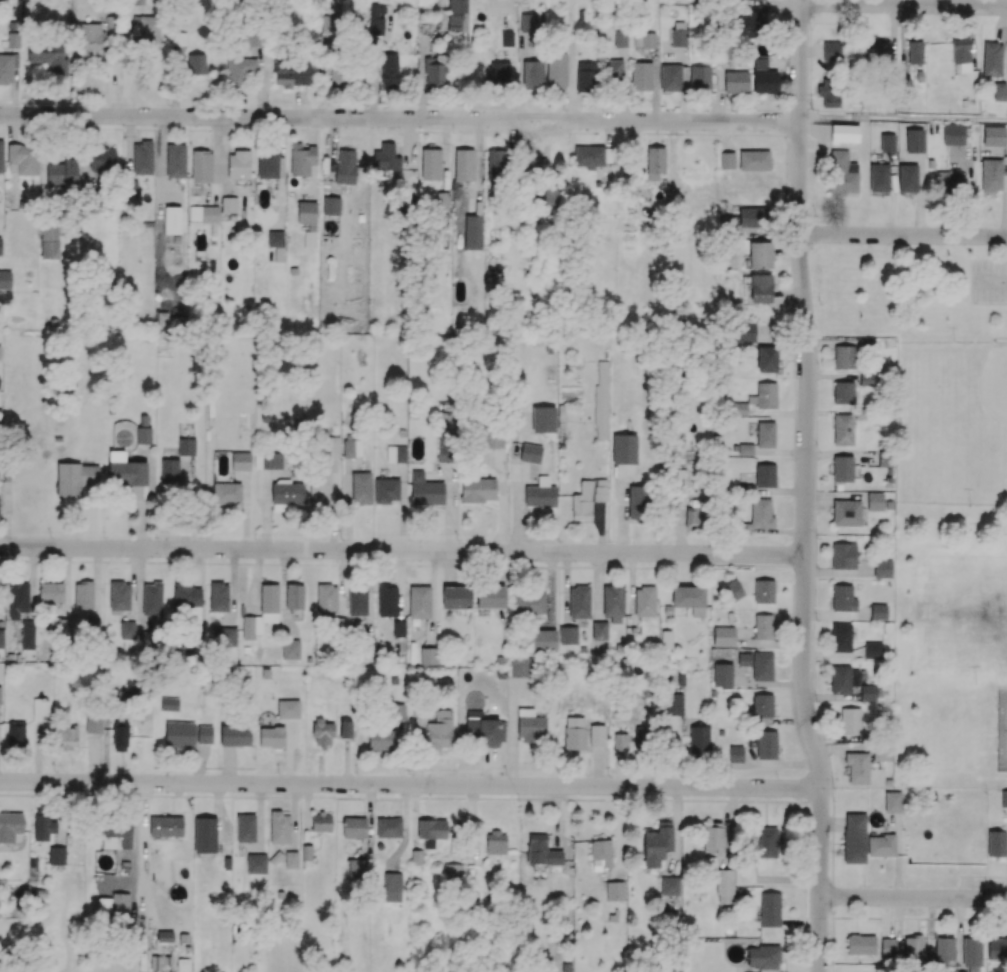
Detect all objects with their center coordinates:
road: (904, 5)
building: (759, 62)
building: (641, 75)
road: (400, 118)
road: (903, 119)
building: (844, 131)
building: (953, 133)
building: (993, 135)
building: (914, 139)
building: (887, 141)
building: (142, 156)
building: (175, 159)
building: (726, 159)
building: (753, 159)
building: (430, 163)
building: (930, 163)
building: (201, 165)
building: (990, 174)
building: (725, 176)
building: (879, 176)
building: (330, 204)
building: (172, 219)
building: (146, 223)
road: (903, 235)
building: (0, 241)
building: (292, 270)
building: (5, 279)
park: (957, 417)
building: (843, 429)
building: (885, 458)
building: (842, 468)
building: (888, 471)
building: (764, 474)
park: (936, 477)
building: (889, 478)
road: (805, 486)
building: (875, 501)
building: (888, 504)
building: (846, 512)
road: (402, 551)
building: (843, 555)
building: (882, 568)
building: (727, 573)
building: (732, 590)
building: (763, 591)
building: (878, 611)
park: (968, 611)
building: (598, 630)
building: (567, 634)
building: (723, 635)
building: (841, 637)
building: (581, 648)
building: (872, 650)
building: (721, 674)
park: (1006, 734)
building: (735, 753)
road: (410, 784)
road: (788, 878)
building: (669, 885)
building: (740, 891)
road: (913, 897)
building: (769, 908)
road: (887, 917)
road: (800, 922)

